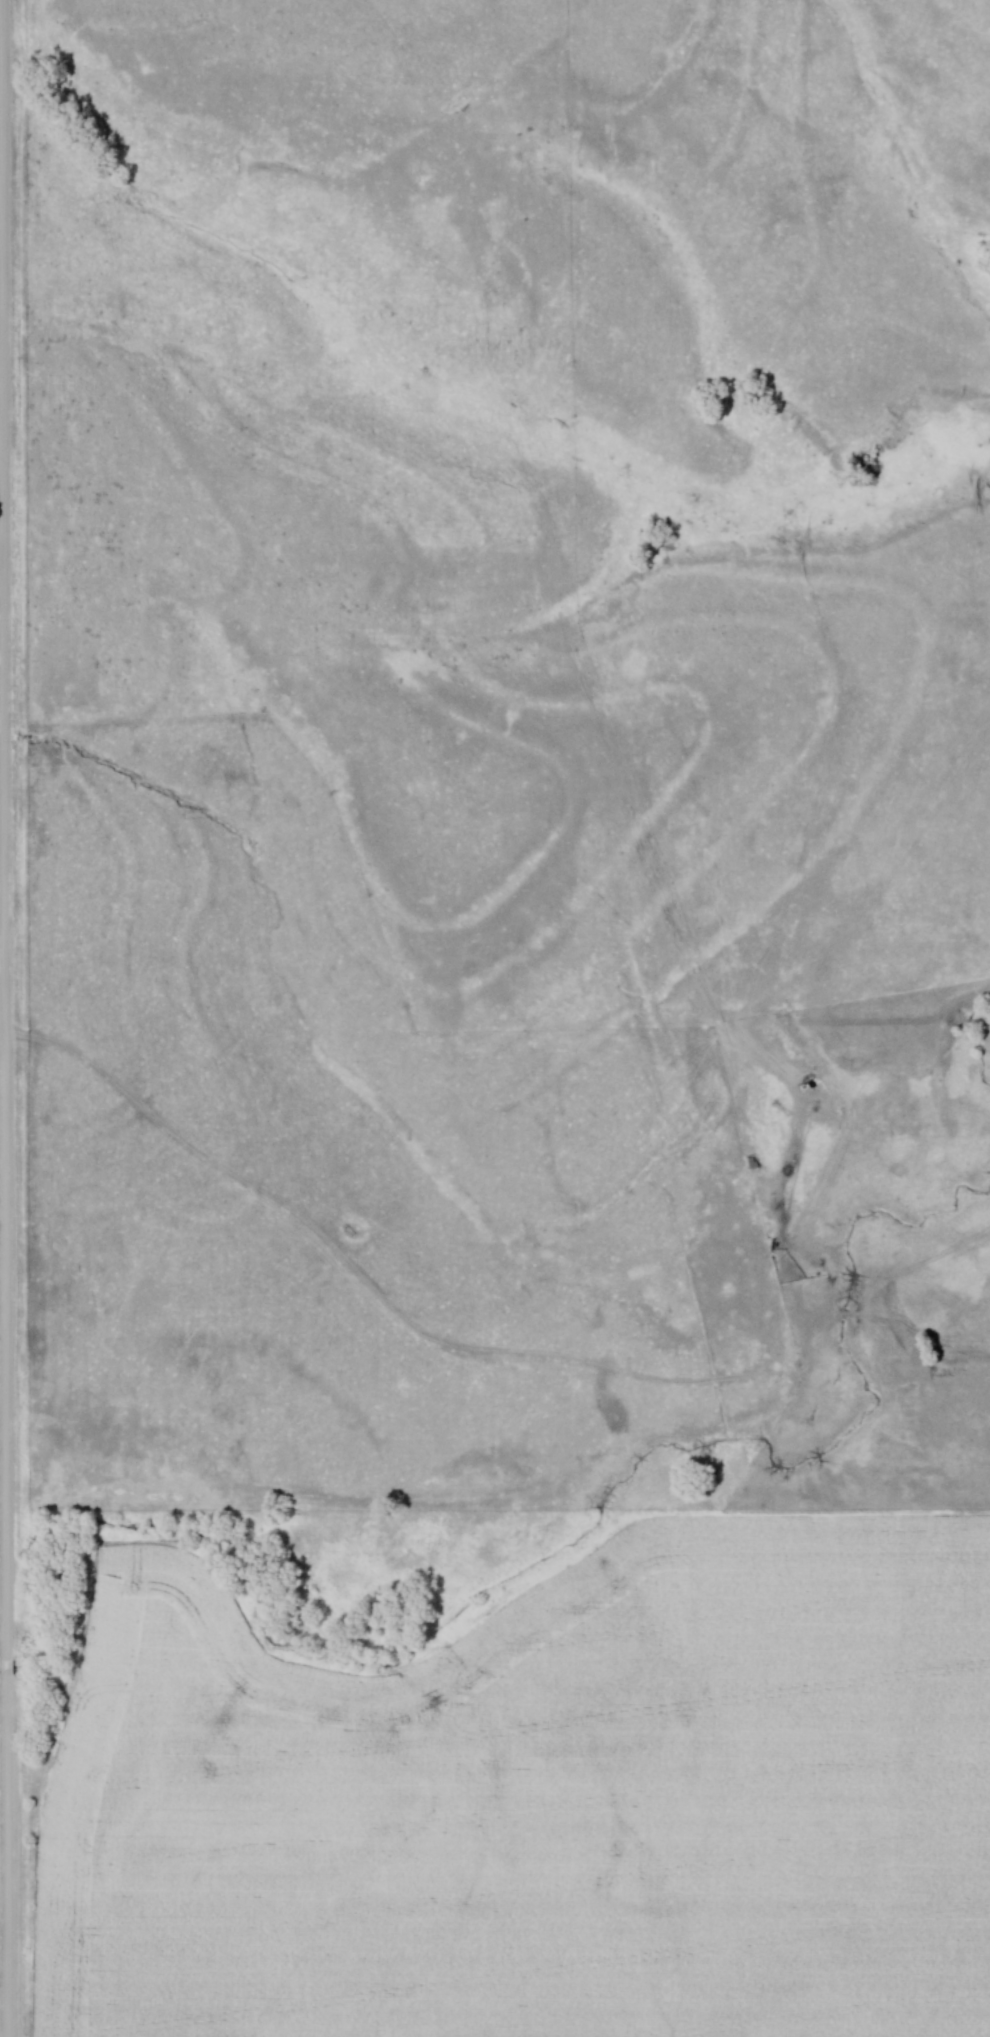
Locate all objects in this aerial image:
building: (752, 1162)
road: (4, 1481)

